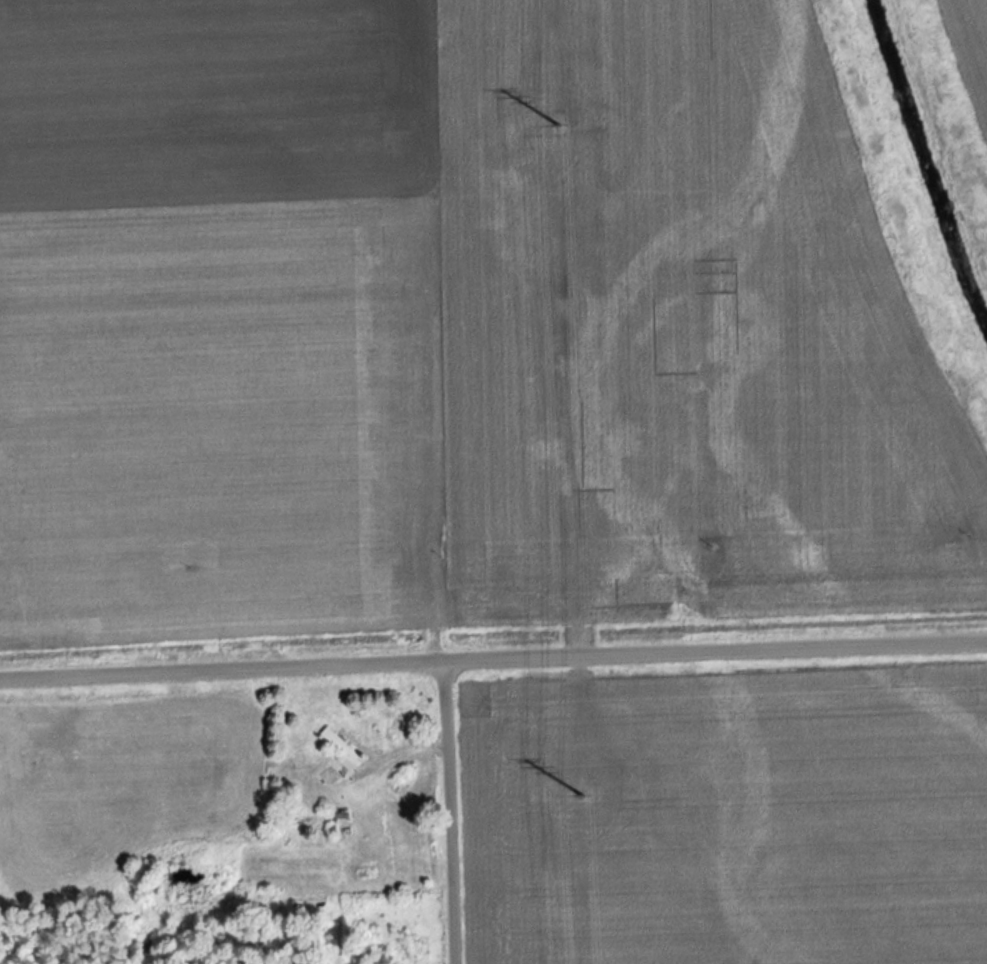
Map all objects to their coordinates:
power tower: (556, 117)
road: (493, 660)
building: (339, 747)
power tower: (581, 787)
road: (449, 813)

